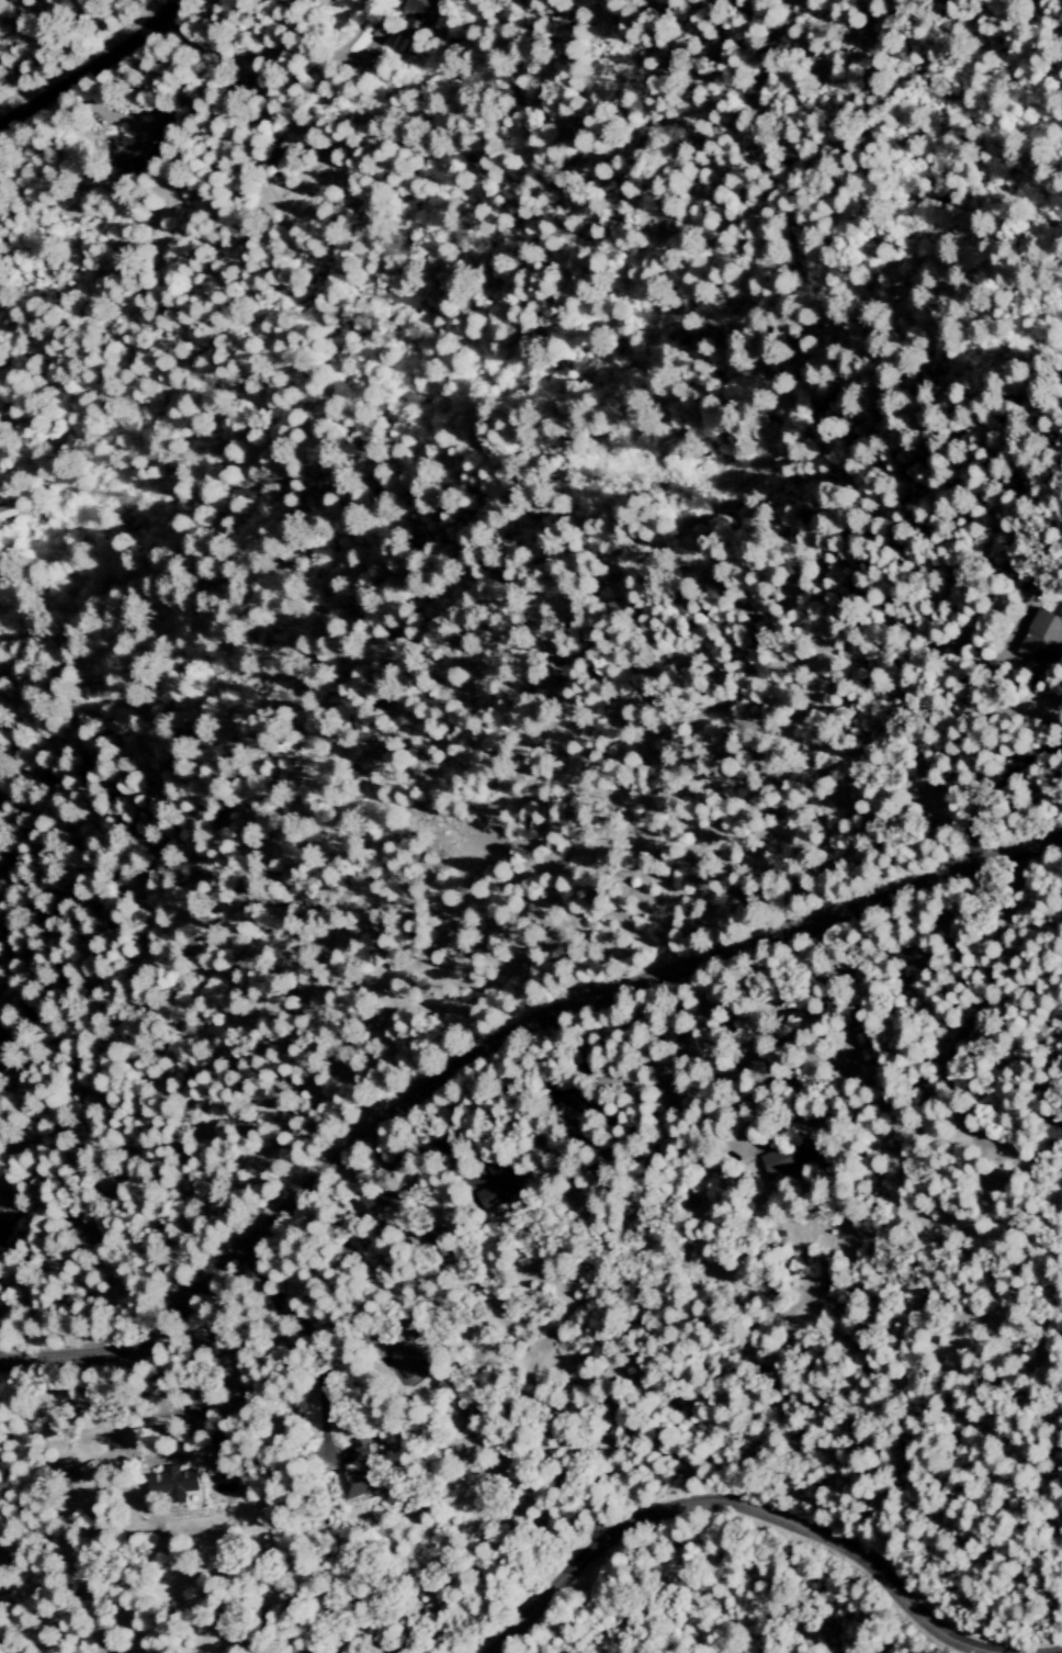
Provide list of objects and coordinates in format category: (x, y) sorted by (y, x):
building: (420, 7)
road: (86, 63)
building: (1040, 637)
road: (493, 1043)
road: (436, 1142)
building: (778, 1162)
road: (416, 1163)
road: (327, 1277)
road: (308, 1341)
building: (404, 1358)
road: (170, 1454)
building: (56, 1471)
building: (168, 1484)
road: (769, 1509)

